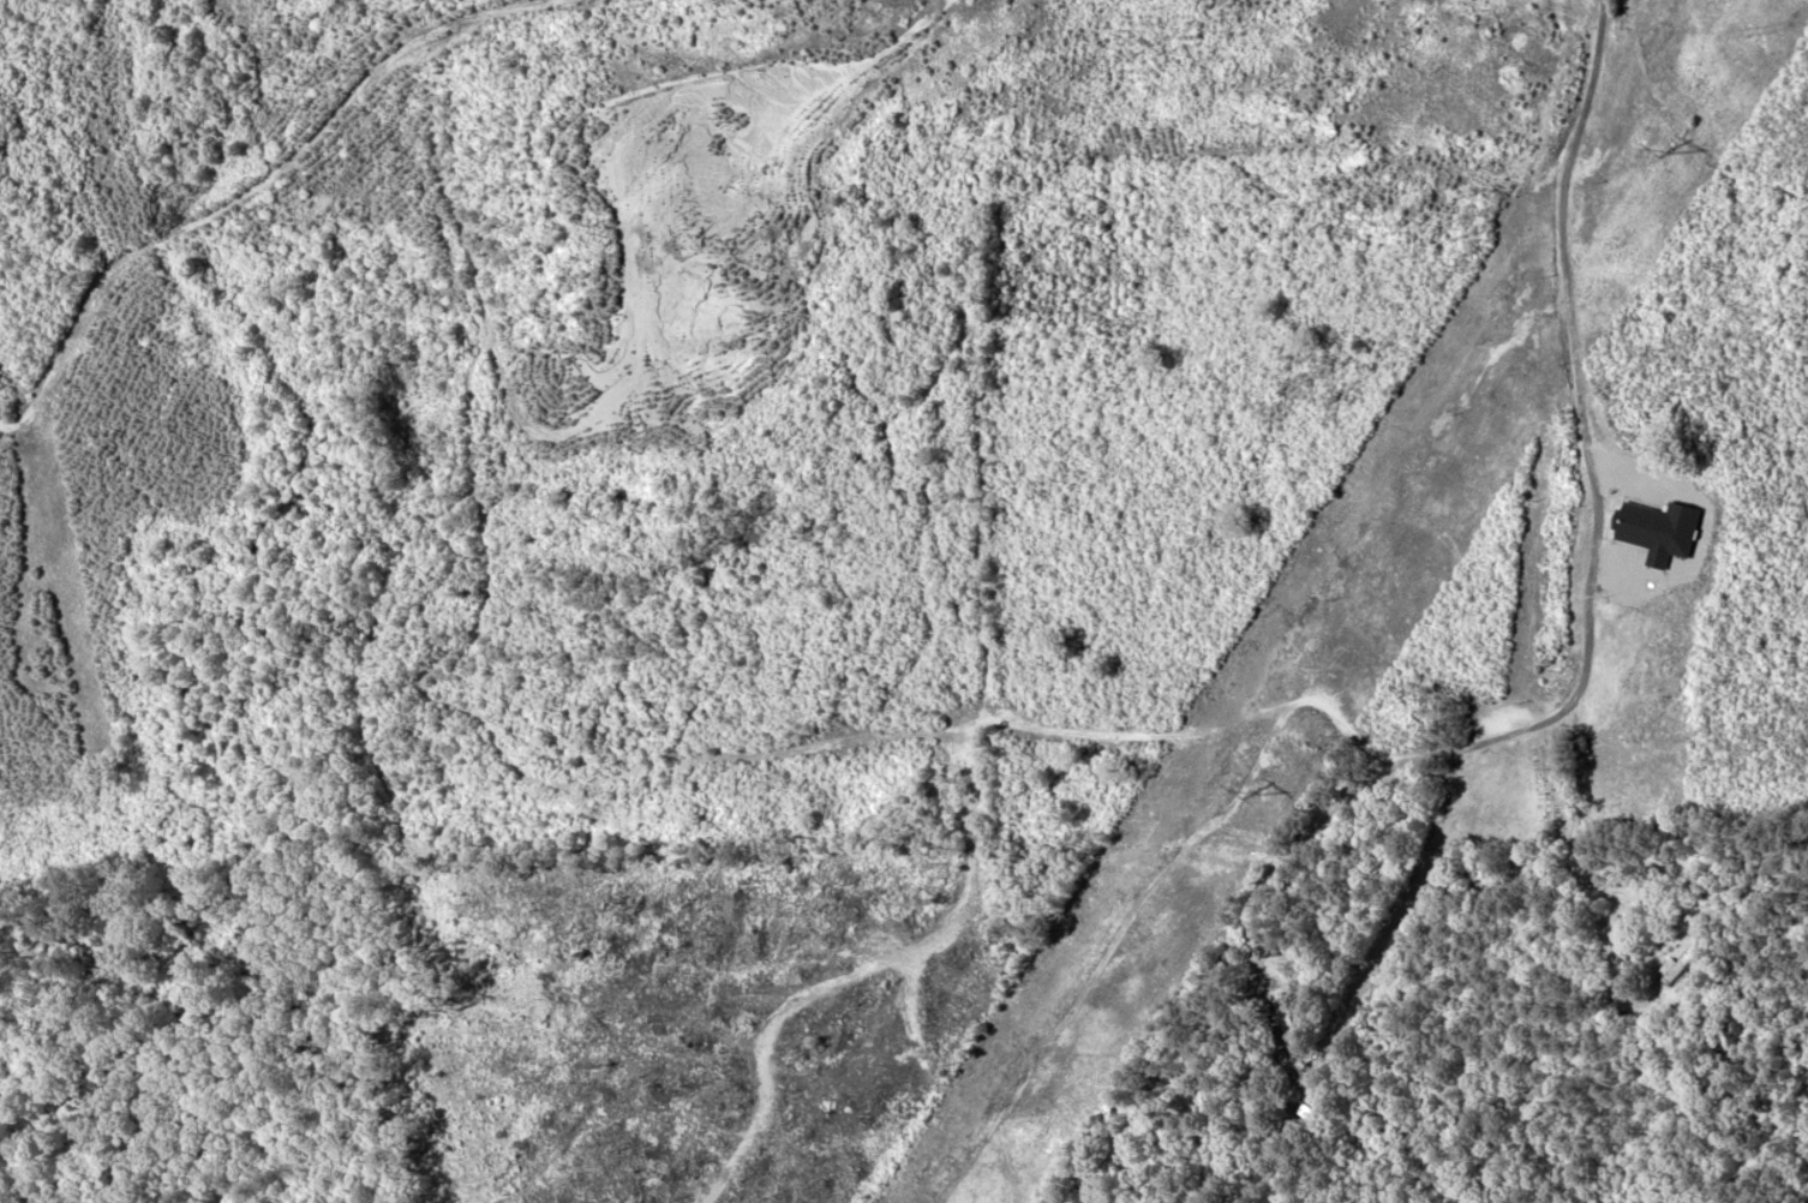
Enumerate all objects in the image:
power tower: (1670, 152)
building: (1659, 528)
road: (1579, 687)
power tower: (1255, 792)
building: (1686, 964)

